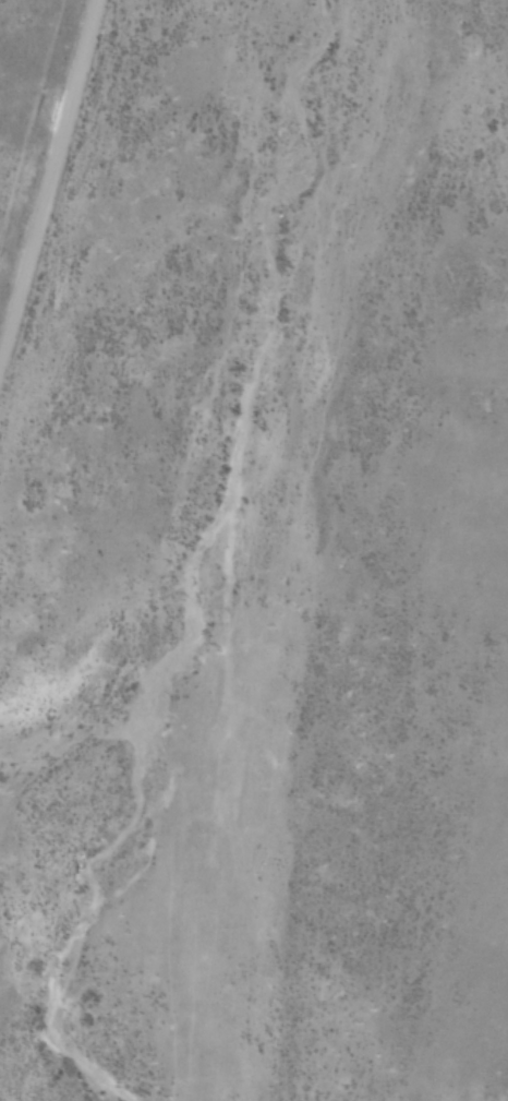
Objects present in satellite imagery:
road: (39, 187)

